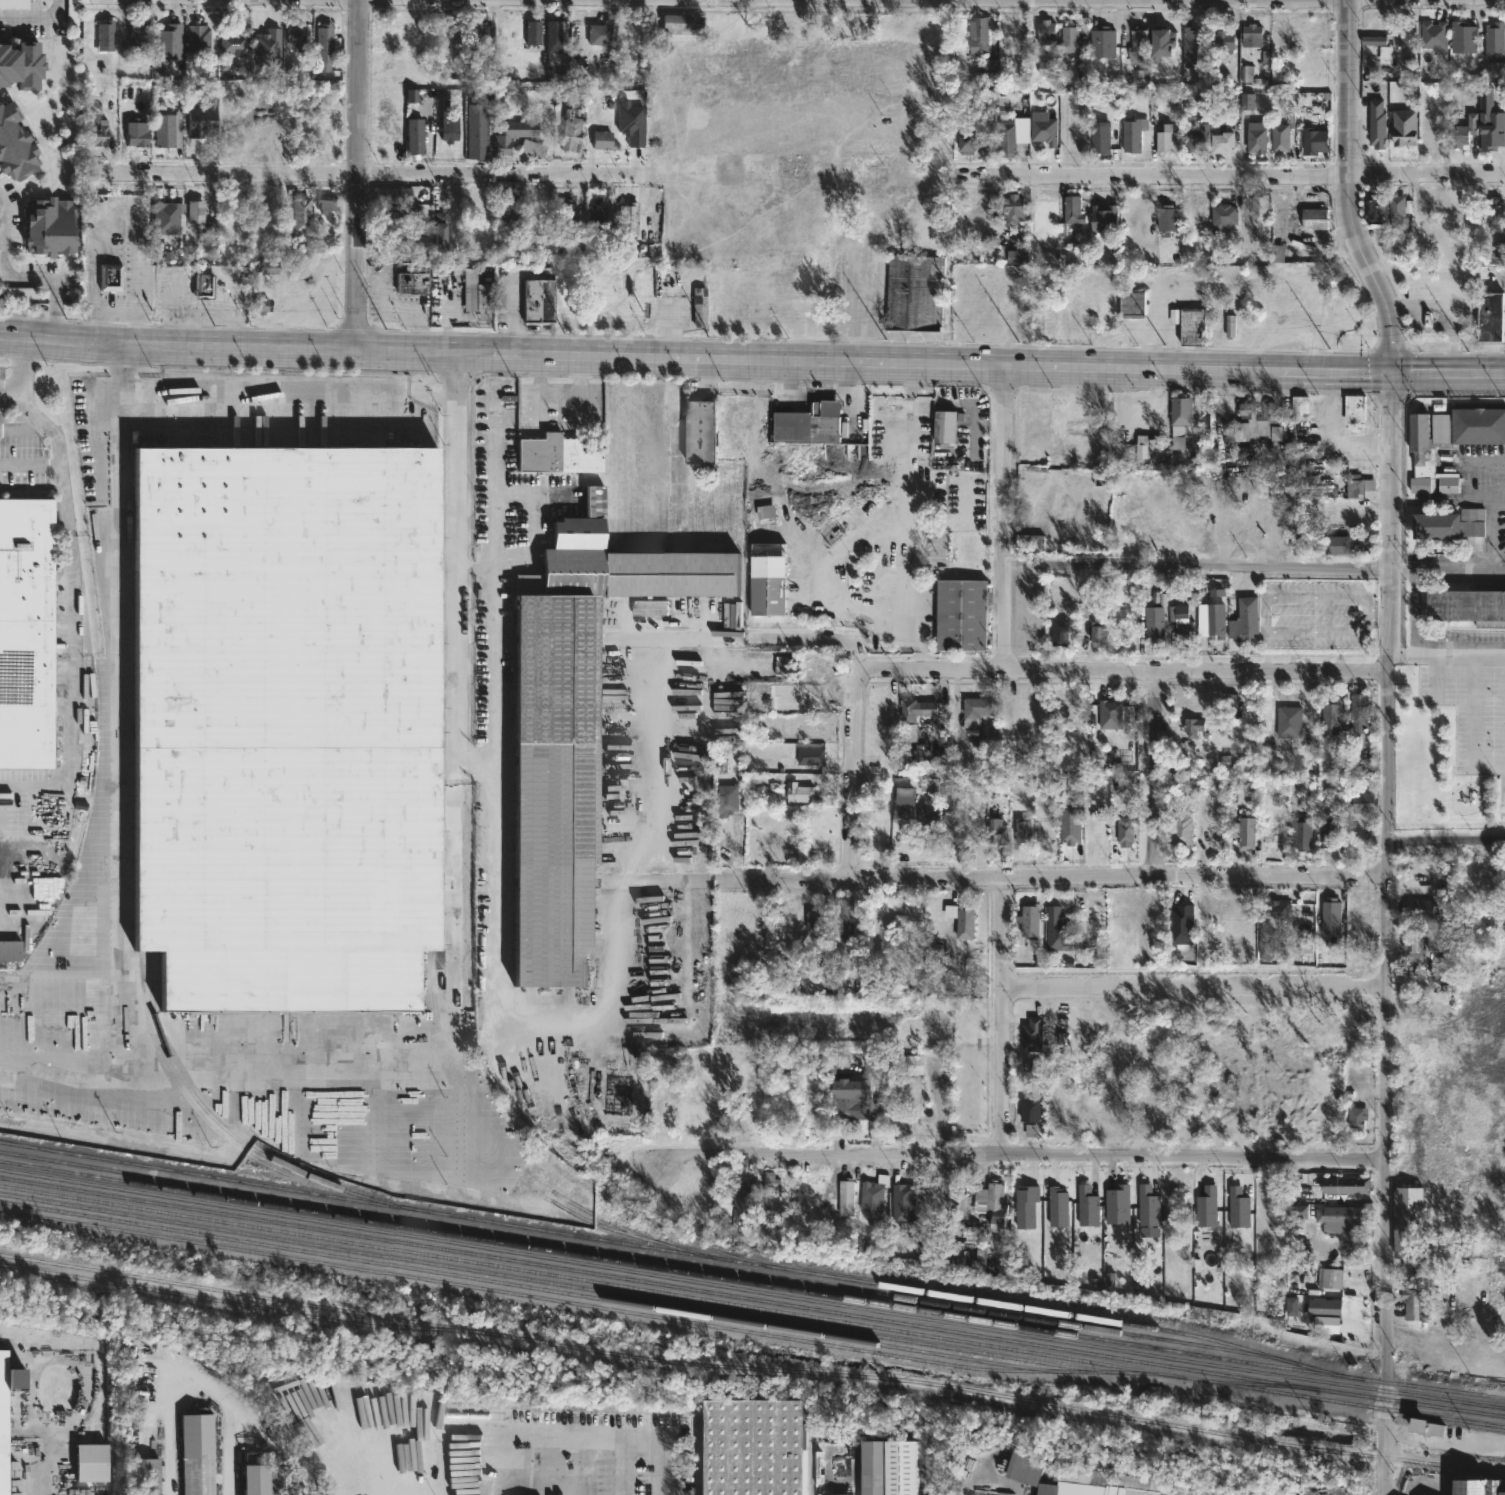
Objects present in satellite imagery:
road: (1027, 0)
building: (74, 12)
road: (35, 17)
building: (681, 23)
building: (629, 30)
building: (481, 31)
building: (297, 32)
building: (458, 32)
building: (536, 32)
building: (1044, 32)
building: (601, 33)
building: (1407, 34)
building: (142, 35)
building: (1250, 35)
building: (1433, 35)
building: (109, 36)
building: (559, 36)
building: (977, 37)
building: (1463, 37)
building: (201, 38)
building: (1070, 39)
building: (1221, 41)
building: (1373, 41)
building: (168, 42)
building: (1103, 43)
building: (1494, 43)
building: (1165, 44)
building: (233, 45)
building: (1137, 45)
building: (268, 46)
building: (324, 47)
building: (1193, 49)
building: (1385, 55)
building: (21, 62)
building: (993, 79)
building: (1247, 102)
building: (1375, 121)
building: (201, 124)
building: (631, 124)
building: (452, 126)
building: (1402, 126)
building: (266, 127)
building: (477, 127)
building: (1045, 128)
building: (168, 130)
building: (573, 131)
building: (1463, 131)
building: (1491, 131)
building: (515, 132)
building: (137, 133)
building: (421, 134)
building: (1132, 135)
building: (1282, 135)
building: (97, 137)
building: (1005, 137)
building: (1255, 137)
building: (606, 139)
building: (1099, 139)
building: (1195, 140)
building: (967, 142)
building: (1314, 142)
building: (15, 143)
building: (1162, 143)
building: (1222, 143)
building: (531, 147)
road: (364, 174)
road: (359, 175)
road: (1233, 176)
road: (1351, 189)
building: (394, 193)
road: (120, 204)
building: (327, 204)
building: (511, 207)
building: (1012, 208)
building: (1258, 209)
building: (401, 210)
building: (1374, 210)
building: (1398, 210)
building: (1493, 211)
building: (196, 212)
building: (568, 212)
building: (1070, 212)
building: (598, 216)
building: (1223, 216)
building: (1166, 217)
building: (630, 218)
building: (1314, 218)
building: (168, 219)
building: (1106, 219)
building: (299, 221)
building: (46, 225)
building: (441, 230)
building: (390, 231)
road: (3, 255)
building: (1282, 255)
building: (1018, 258)
road: (204, 267)
building: (110, 277)
building: (1001, 278)
building: (414, 281)
building: (204, 287)
road: (53, 288)
building: (475, 291)
building: (913, 292)
building: (537, 300)
building: (1131, 301)
building: (702, 307)
building: (969, 311)
road: (205, 313)
building: (1107, 313)
road: (1442, 314)
building: (1490, 316)
road: (57, 318)
building: (1188, 324)
building: (1230, 326)
building: (994, 328)
road: (611, 355)
road: (1307, 370)
traffic signals: (1392, 371)
road: (1447, 371)
road: (1504, 372)
road: (10, 390)
building: (1299, 408)
building: (1353, 408)
road: (267, 411)
building: (1180, 415)
building: (1256, 421)
road: (40, 422)
building: (808, 423)
building: (1074, 424)
building: (944, 425)
building: (1036, 425)
building: (706, 430)
road: (1336, 430)
building: (1448, 441)
building: (1149, 446)
building: (557, 454)
road: (1483, 458)
road: (30, 461)
building: (1103, 483)
building: (1357, 486)
road: (1447, 496)
road: (1004, 517)
building: (1341, 517)
building: (1216, 518)
road: (67, 520)
building: (1448, 524)
building: (1127, 526)
building: (1028, 541)
road: (69, 542)
building: (1336, 545)
road: (454, 559)
road: (1195, 567)
road: (1446, 567)
road: (475, 568)
building: (1088, 594)
building: (764, 596)
road: (496, 602)
building: (1469, 604)
building: (653, 608)
road: (1413, 612)
building: (959, 614)
parking lot: (1313, 614)
road: (1379, 614)
road: (1265, 616)
building: (1154, 619)
building: (1244, 619)
building: (1180, 621)
building: (1215, 622)
building: (1058, 632)
building: (27, 633)
building: (1097, 633)
road: (815, 640)
road: (1446, 657)
road: (1121, 671)
building: (794, 696)
road: (69, 699)
building: (916, 708)
building: (975, 710)
building: (1358, 710)
parking lot: (1470, 712)
building: (1109, 714)
building: (1330, 718)
building: (1288, 722)
parking lot: (1474, 722)
building: (882, 724)
building: (285, 725)
building: (1192, 726)
building: (579, 727)
road: (645, 743)
building: (809, 756)
road: (1153, 773)
road: (854, 774)
building: (799, 792)
building: (726, 797)
building: (1364, 804)
building: (1069, 825)
building: (925, 826)
building: (948, 828)
building: (1181, 828)
building: (1021, 830)
building: (1124, 830)
building: (977, 831)
building: (995, 832)
building: (1242, 832)
building: (1328, 832)
building: (1095, 833)
building: (1299, 834)
road: (1446, 837)
road: (30, 859)
road: (1052, 875)
road: (453, 896)
road: (121, 902)
building: (1421, 909)
building: (1357, 914)
building: (1330, 917)
building: (817, 919)
building: (1028, 920)
building: (961, 921)
building: (1271, 924)
building: (1057, 930)
building: (842, 933)
road: (1387, 933)
building: (1412, 939)
building: (1438, 939)
building: (12, 949)
road: (1195, 986)
railway: (432, 989)
railway: (424, 992)
road: (1003, 1015)
building: (1039, 1036)
railway: (180, 1089)
building: (911, 1094)
building: (847, 1099)
building: (1028, 1110)
building: (1356, 1117)
railway: (221, 1123)
road: (1013, 1156)
railway: (610, 1166)
building: (770, 1185)
building: (1344, 1185)
building: (869, 1196)
railway: (350, 1197)
building: (844, 1197)
building: (903, 1203)
building: (990, 1204)
building: (1116, 1204)
building: (1086, 1205)
building: (1025, 1206)
building: (1206, 1206)
building: (1057, 1207)
building: (1148, 1211)
railway: (598, 1217)
building: (1239, 1217)
building: (1338, 1219)
building: (1409, 1232)
railway: (634, 1252)
railway: (674, 1268)
building: (1332, 1279)
railway: (548, 1282)
railway: (521, 1285)
railway: (752, 1289)
railway: (729, 1294)
railway: (235, 1302)
building: (1414, 1302)
railway: (582, 1304)
railway: (752, 1306)
railway: (1024, 1307)
building: (1324, 1308)
road: (1444, 1347)
railway: (181, 1352)
railway: (752, 1368)
railway: (1253, 1382)
road: (195, 1386)
railway: (1504, 1396)
railway: (1482, 1410)
railway: (1482, 1412)
building: (3, 1423)
road: (591, 1438)
building: (751, 1447)
building: (201, 1454)
building: (94, 1462)
building: (1022, 1465)
building: (885, 1467)
building: (147, 1476)
building: (274, 1480)
road: (17, 1482)
building: (1100, 1483)
building: (1478, 1486)
building: (834, 1494)

